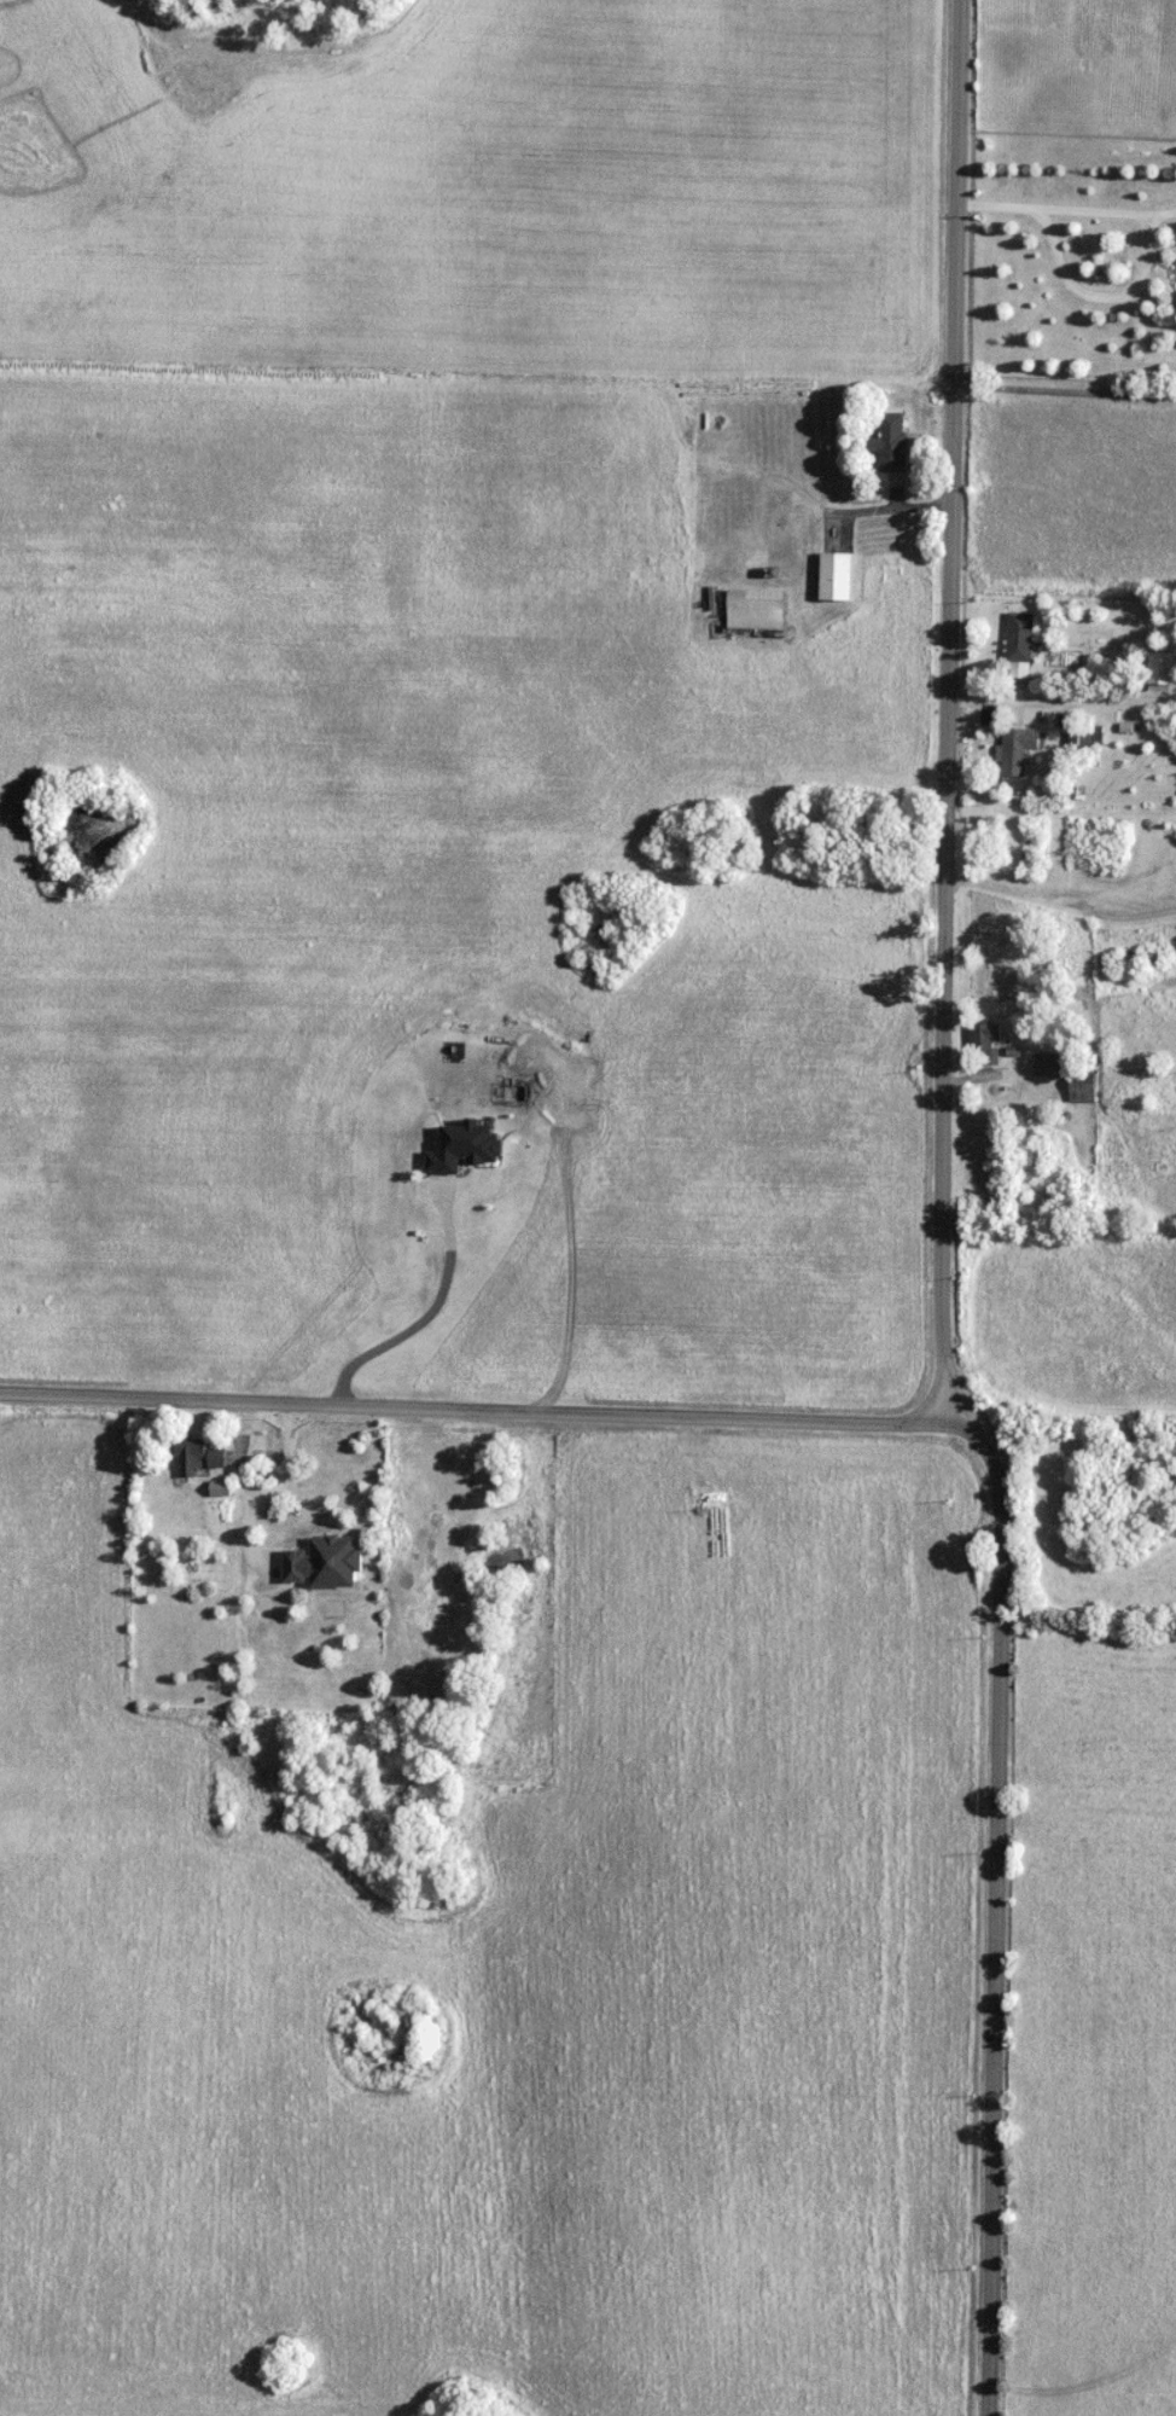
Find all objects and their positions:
road: (1067, 214)
road: (1065, 395)
building: (891, 443)
road: (879, 515)
building: (781, 521)
building: (838, 577)
building: (756, 610)
building: (1020, 638)
building: (1113, 662)
building: (1162, 672)
road: (1061, 705)
road: (948, 716)
building: (1081, 737)
building: (1018, 750)
road: (1116, 887)
road: (1060, 904)
building: (1136, 959)
road: (1172, 983)
building: (986, 1043)
building: (1064, 1073)
road: (421, 1317)
road: (511, 1416)
building: (281, 1442)
building: (196, 1454)
building: (289, 1476)
building: (221, 1492)
road: (157, 1727)
road: (995, 1946)

